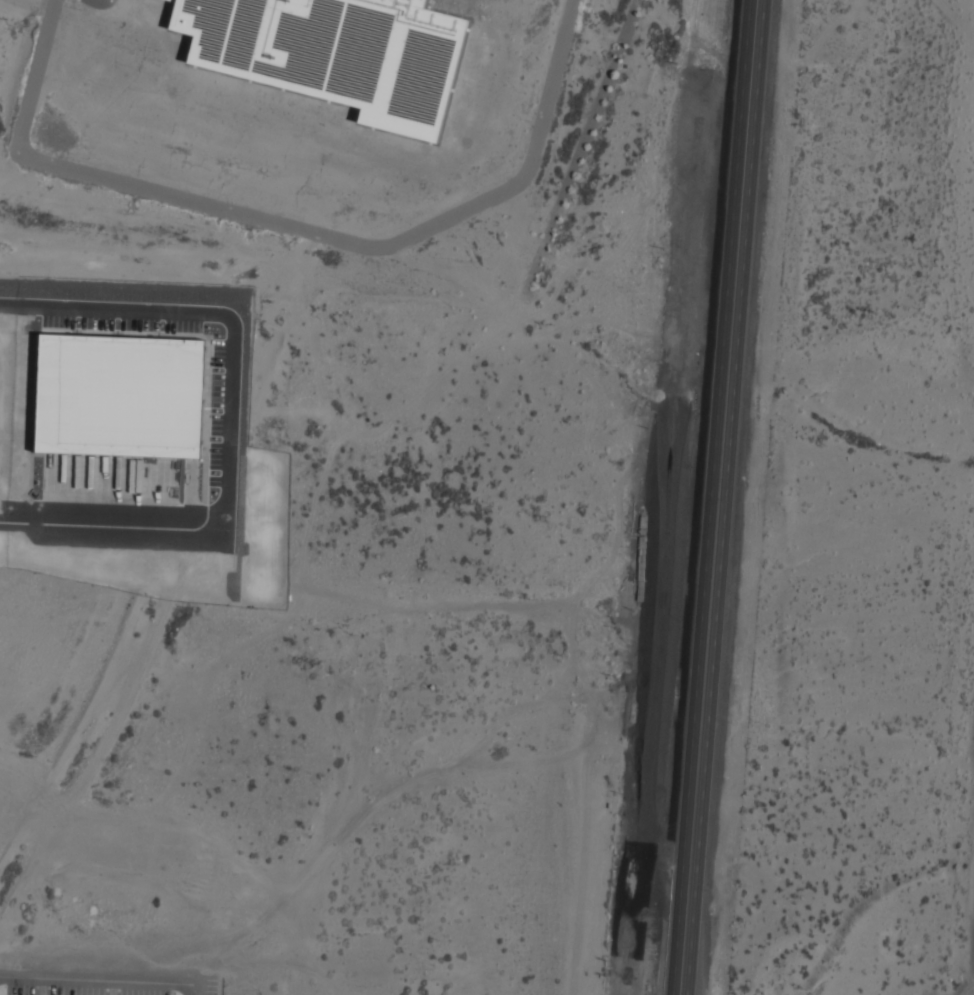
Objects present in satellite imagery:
building: (336, 52)
road: (292, 226)
building: (114, 404)
road: (226, 424)
road: (717, 497)

